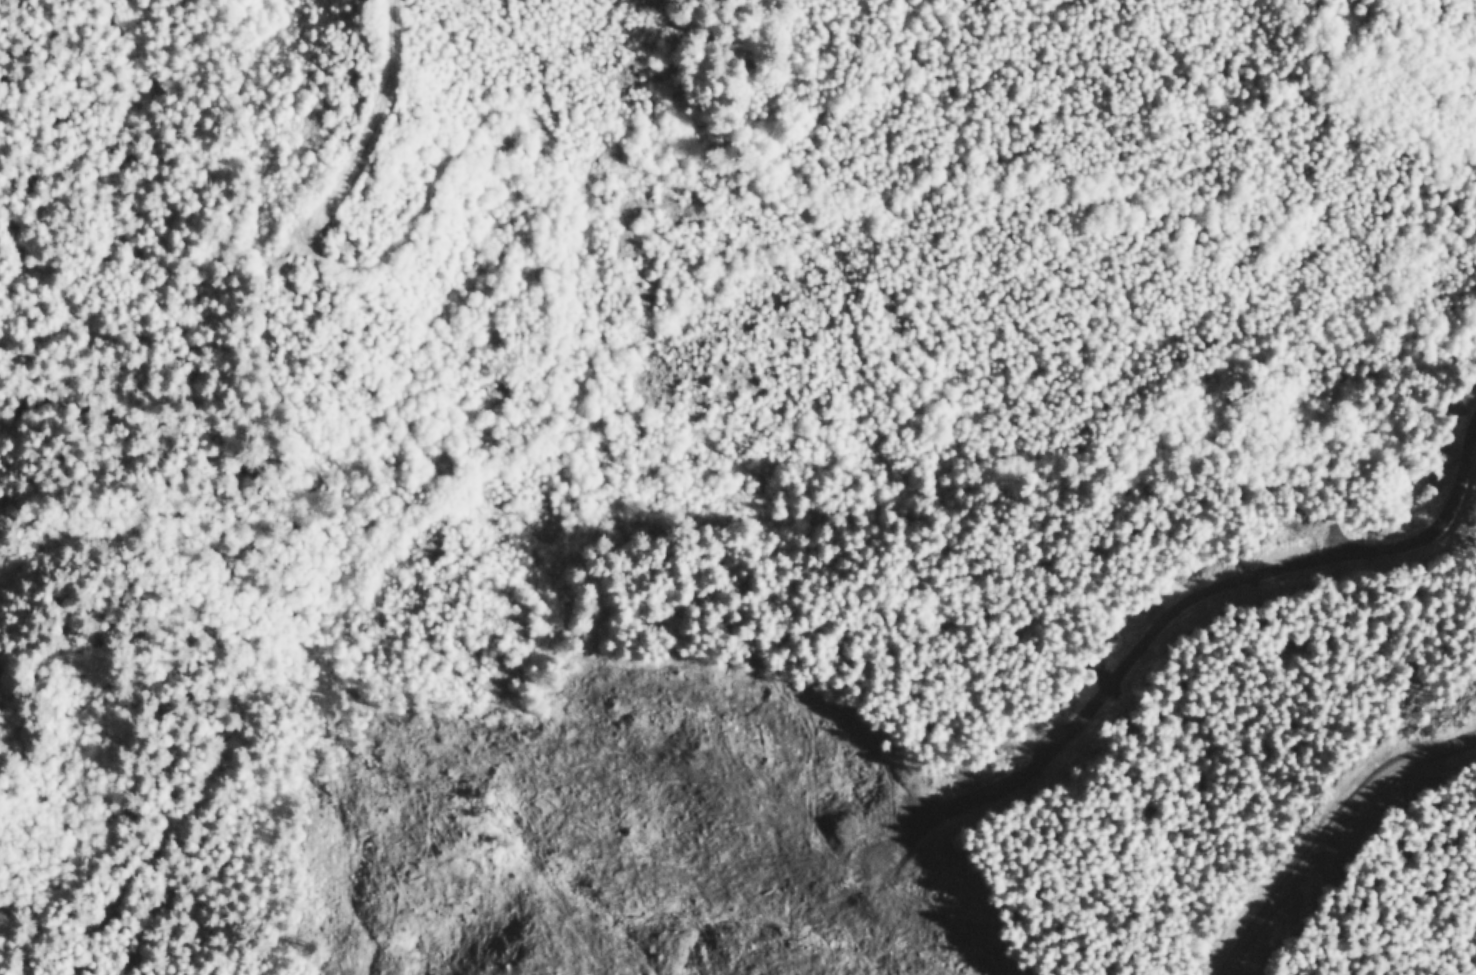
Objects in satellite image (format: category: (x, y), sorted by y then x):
road: (552, 378)
road: (1158, 639)

